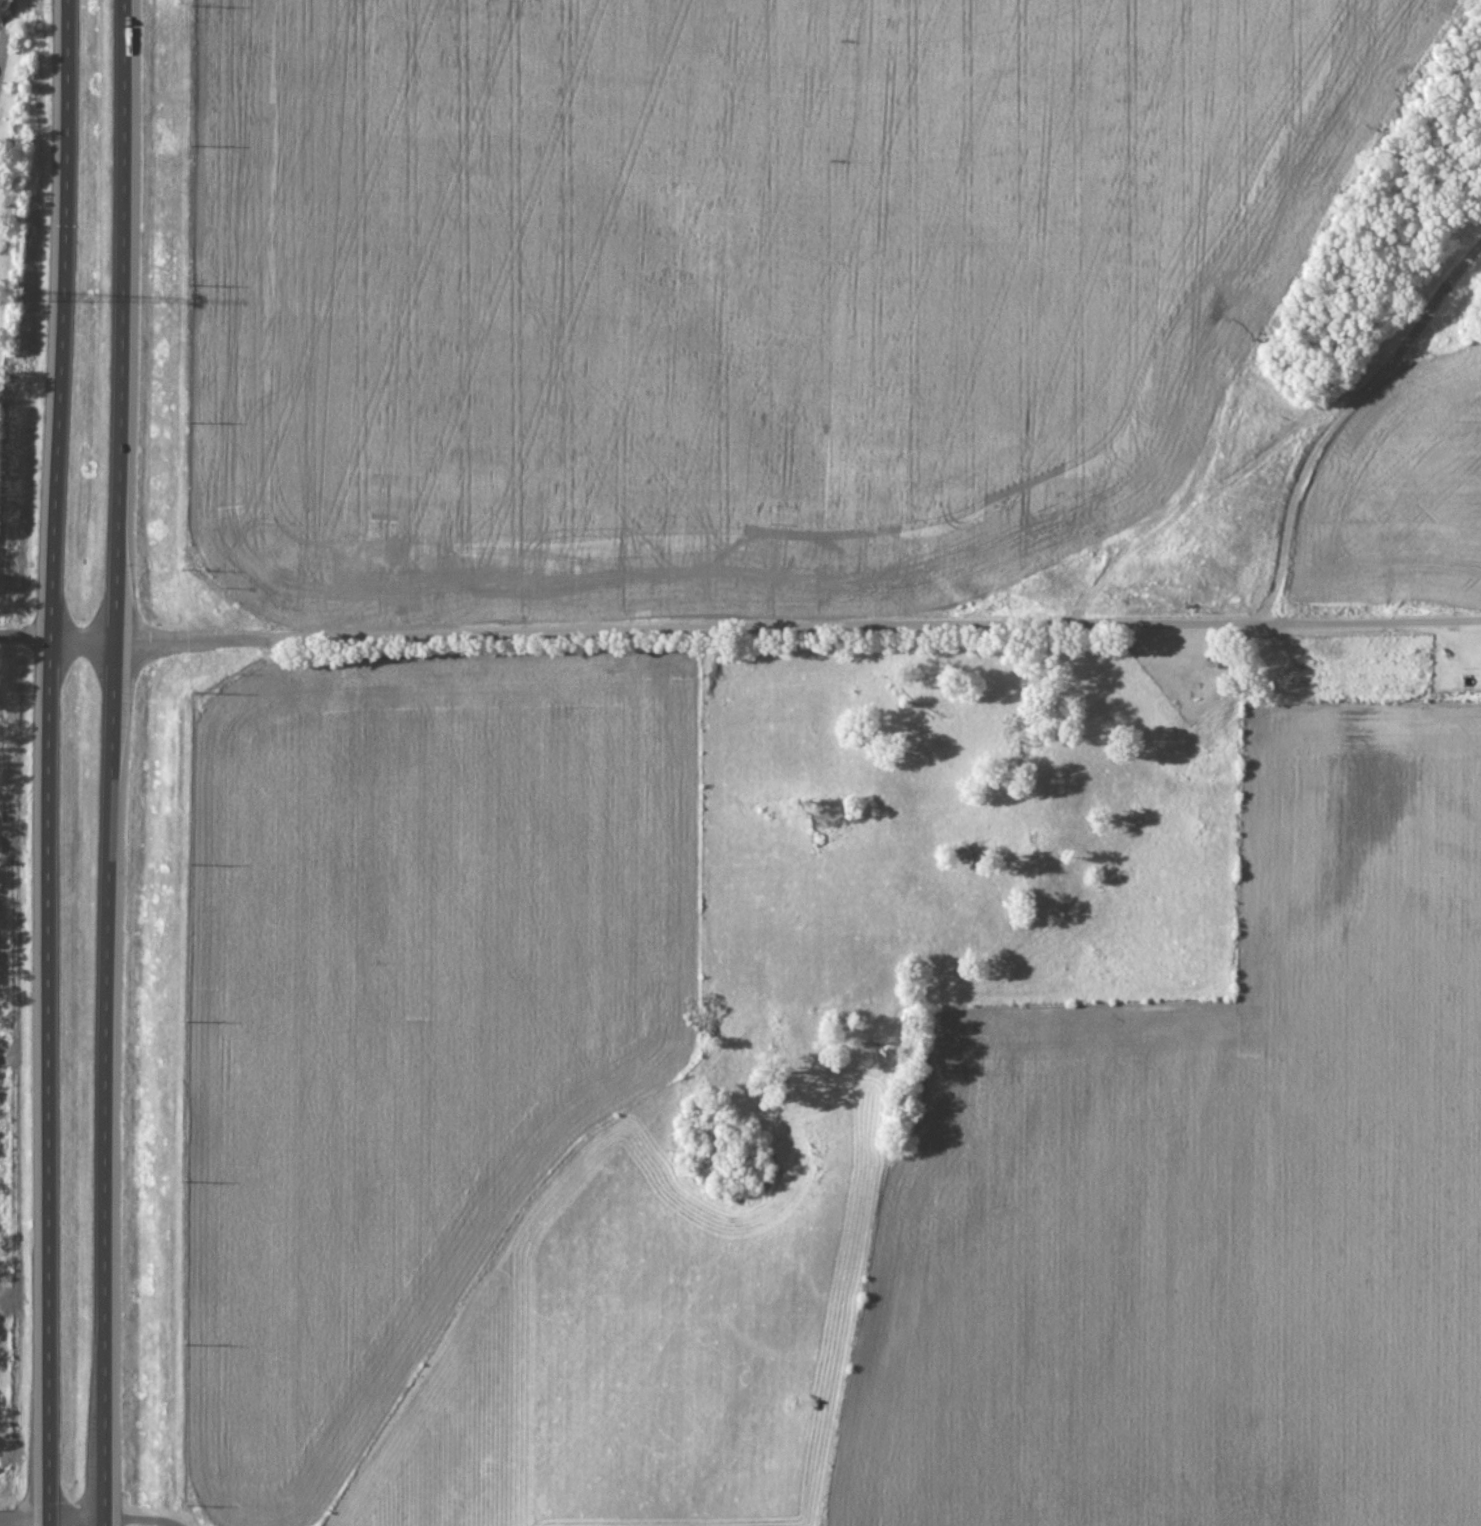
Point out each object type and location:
road: (1, 20)
road: (798, 631)
road: (58, 637)
building: (1216, 658)
road: (49, 762)
road: (113, 762)
road: (52, 1520)
road: (142, 1520)

